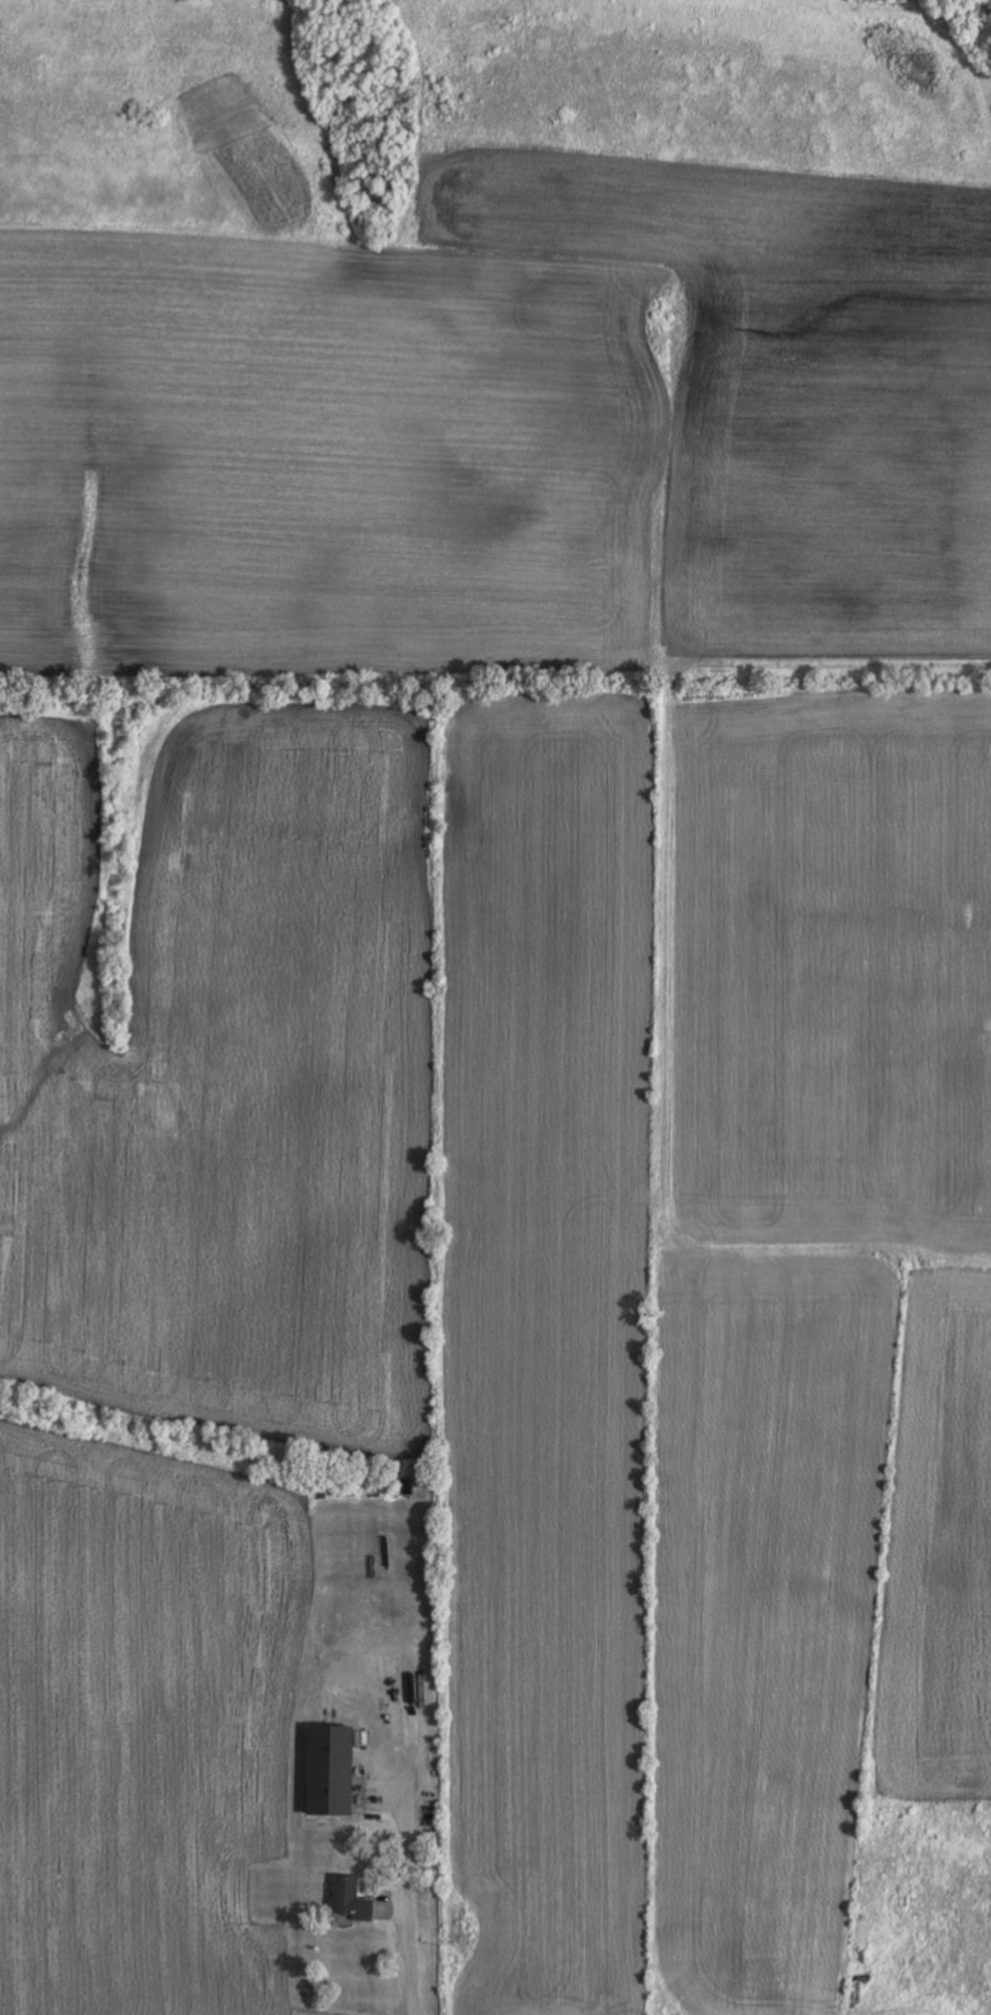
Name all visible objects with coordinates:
building: (328, 1770)
building: (348, 1899)

